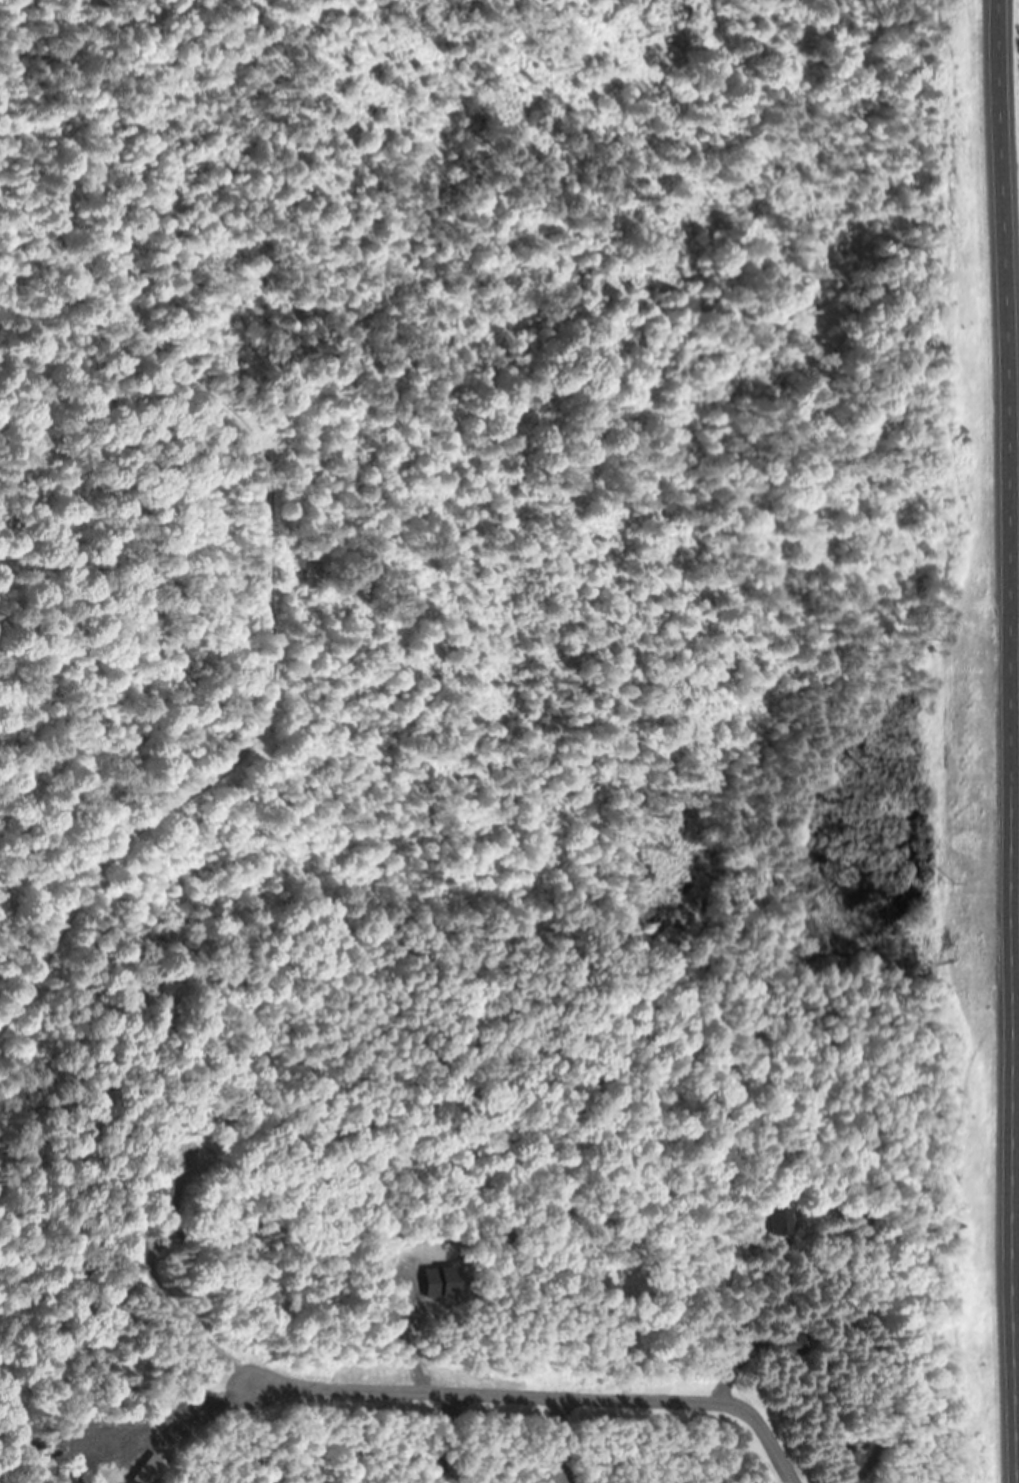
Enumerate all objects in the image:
road: (275, 607)
road: (1012, 741)
building: (781, 1221)
building: (797, 1345)
road: (729, 1376)
road: (544, 1396)
road: (215, 1415)
building: (152, 1471)

